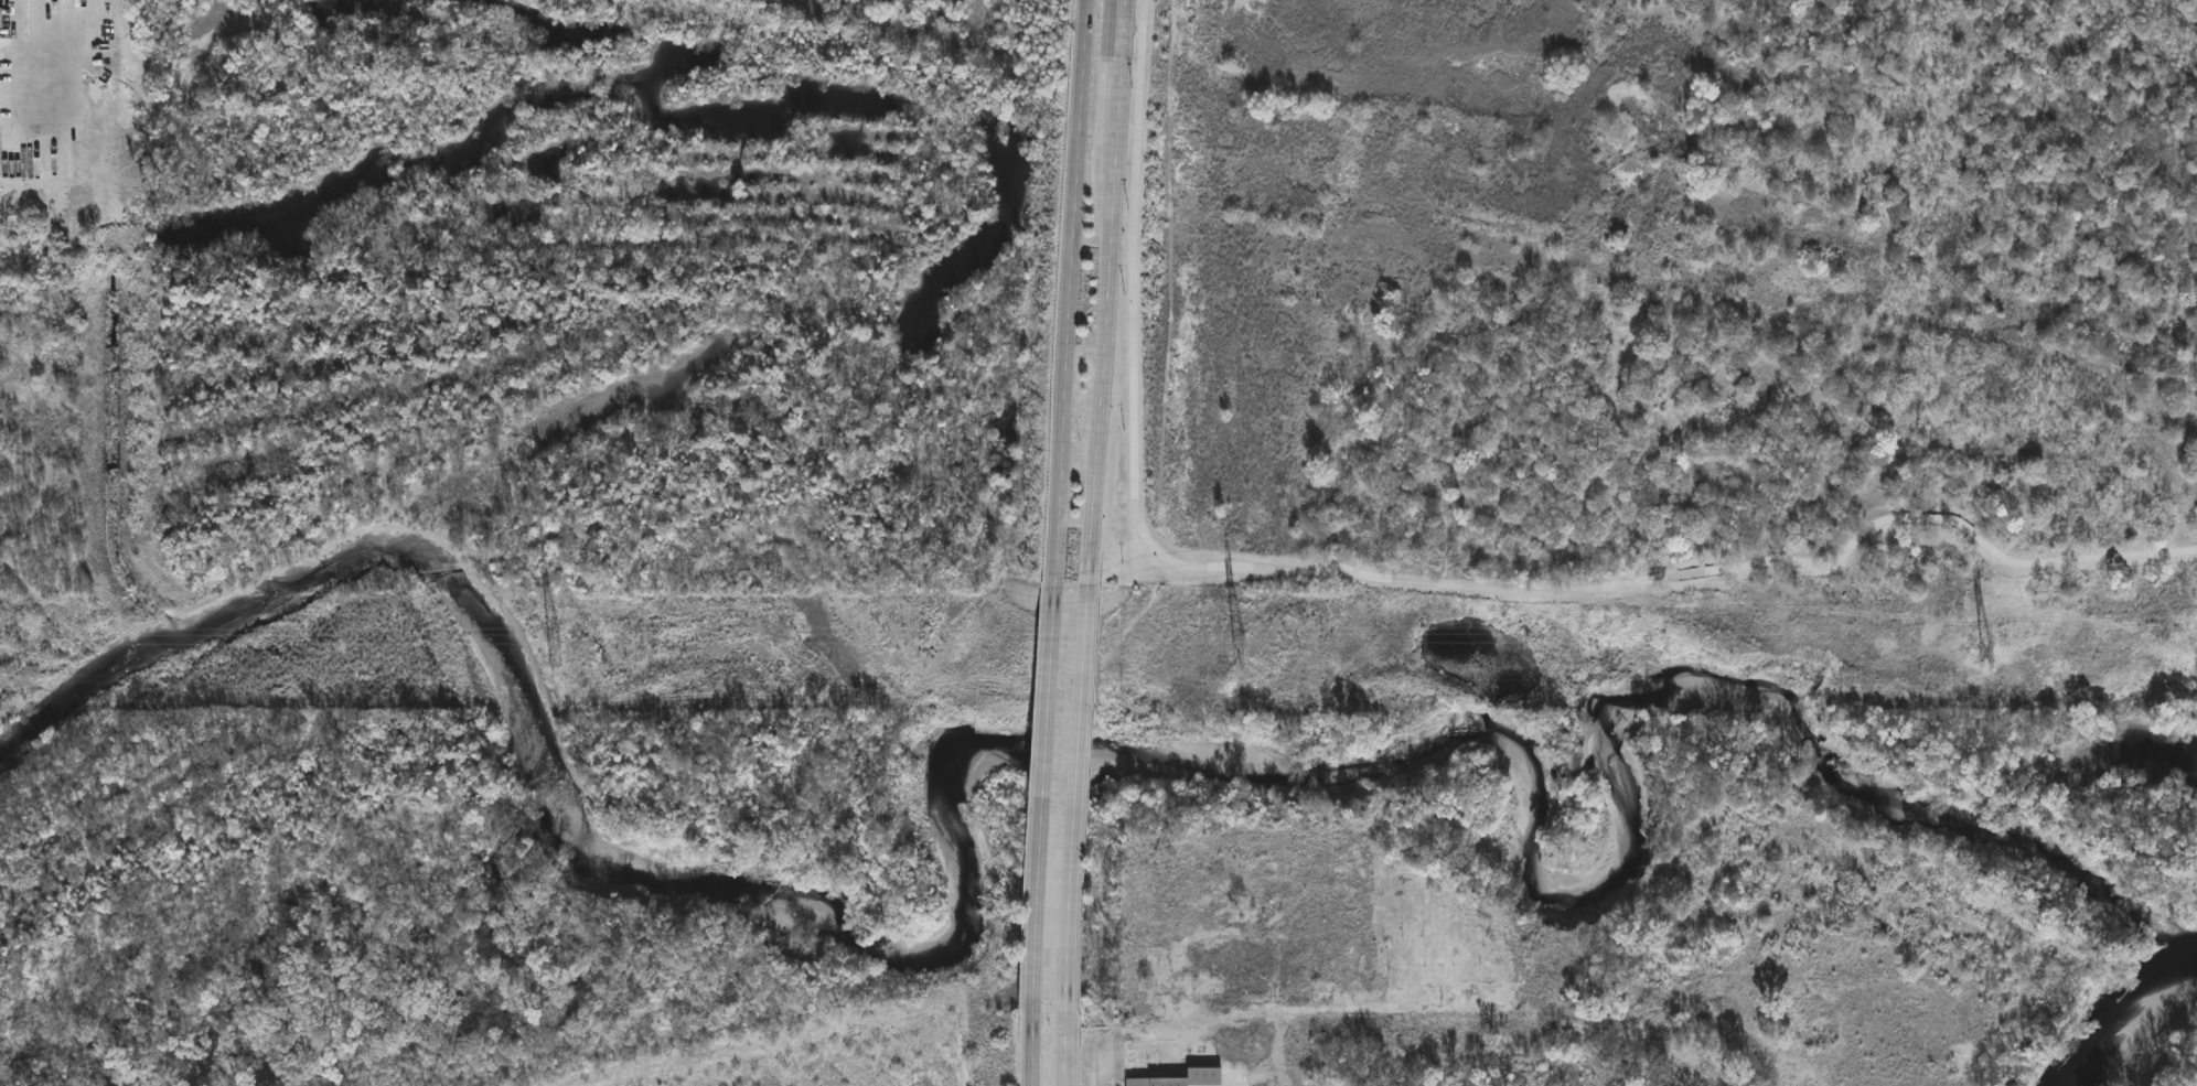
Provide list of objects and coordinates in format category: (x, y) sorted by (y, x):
building: (1, 19)
road: (15, 61)
road: (1108, 294)
road: (1071, 295)
road: (1413, 582)
power tower: (1989, 653)
power tower: (1243, 654)
power tower: (558, 655)
road: (1042, 803)
road: (1080, 804)
river: (2137, 1029)
road: (1030, 1050)
road: (1071, 1052)
building: (1185, 1078)
road: (1072, 1085)

